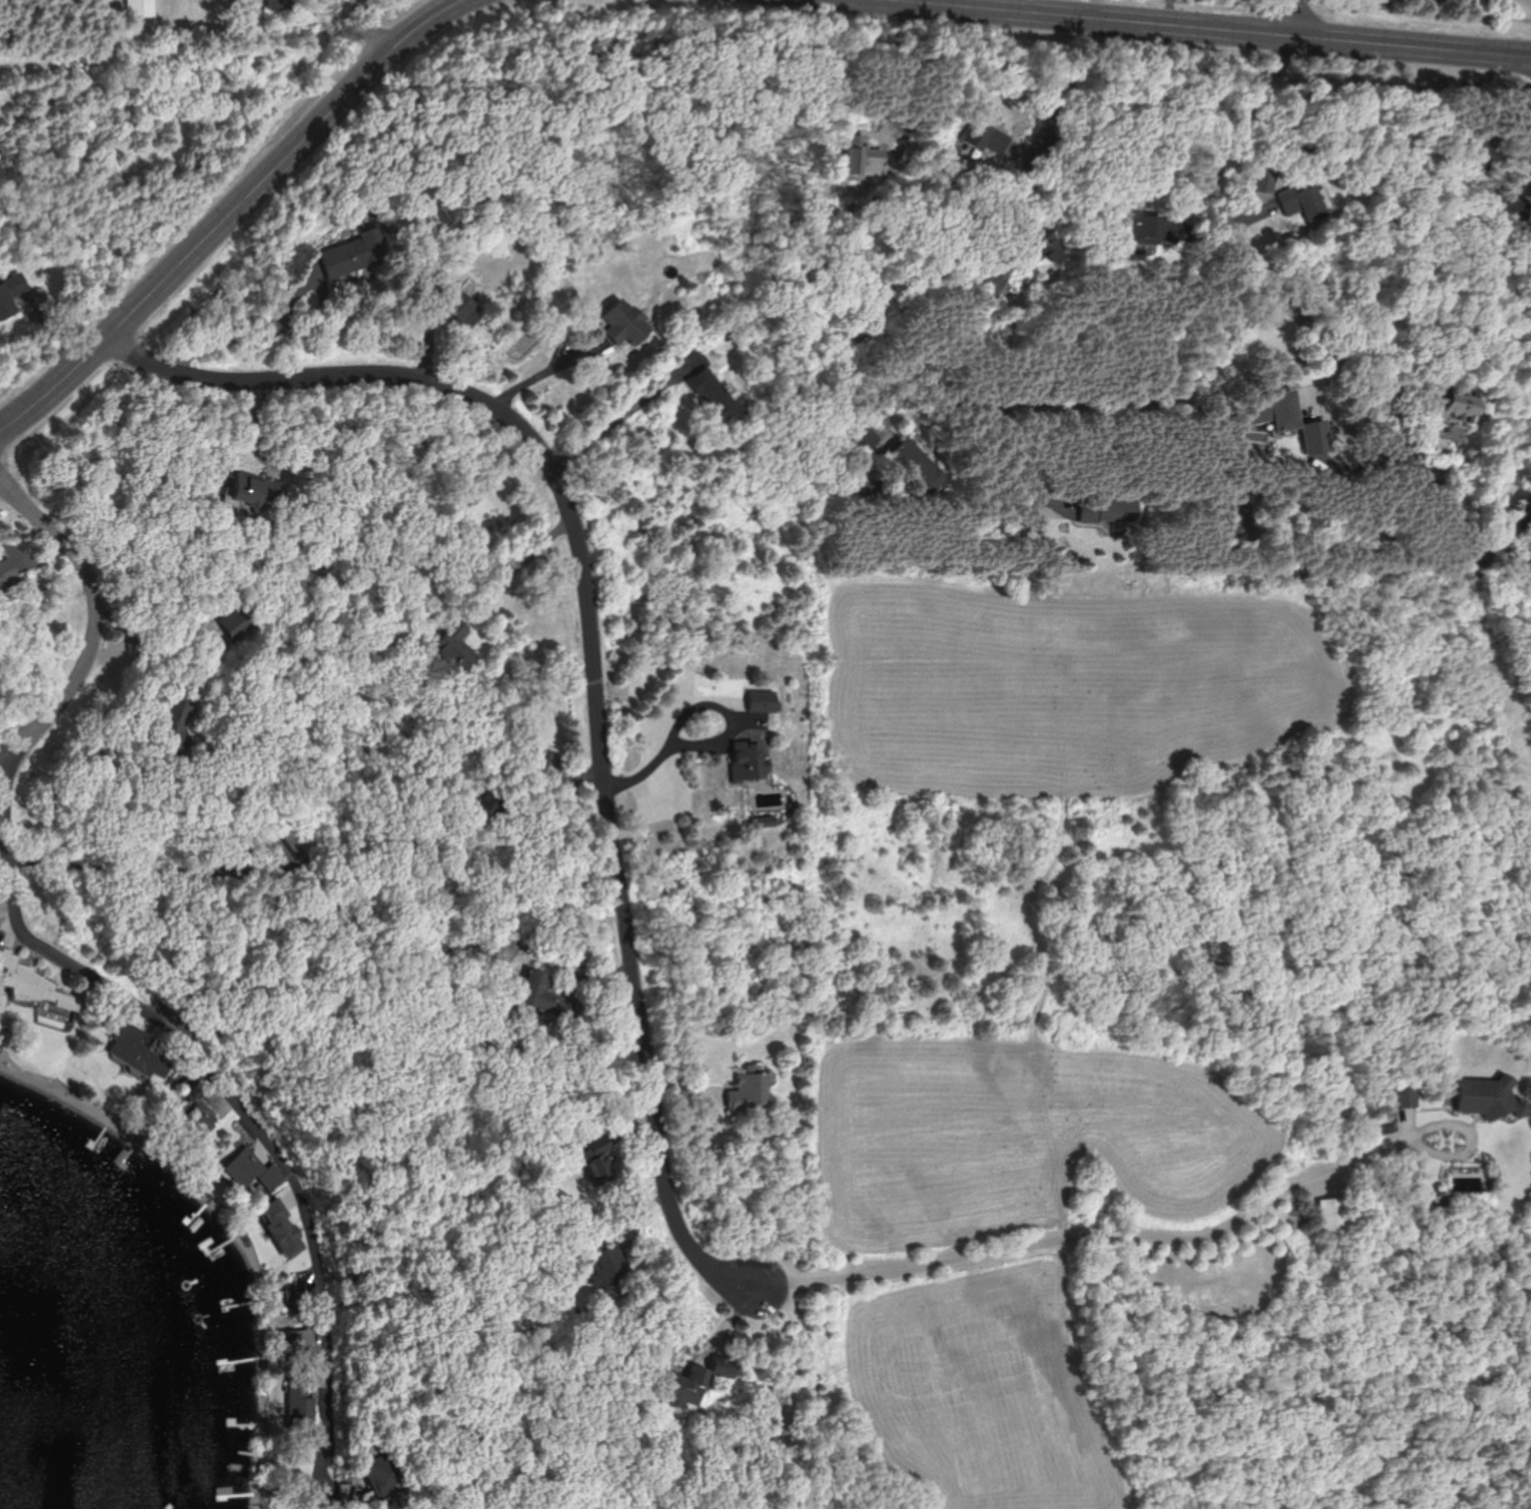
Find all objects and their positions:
road: (904, 1)
building: (283, 4)
building: (143, 8)
park: (1392, 12)
road: (1304, 20)
road: (1199, 29)
road: (365, 36)
road: (1064, 100)
building: (982, 135)
building: (1306, 201)
road: (234, 208)
building: (1150, 226)
building: (356, 253)
building: (11, 294)
road: (1291, 298)
building: (466, 309)
building: (625, 322)
road: (252, 337)
road: (547, 375)
building: (713, 393)
road: (1107, 403)
building: (1455, 411)
building: (1284, 413)
road: (614, 422)
building: (920, 463)
building: (260, 490)
building: (1110, 511)
building: (1527, 516)
building: (1527, 553)
building: (8, 573)
road: (513, 575)
building: (228, 628)
building: (455, 647)
road: (593, 658)
building: (763, 701)
road: (664, 725)
building: (178, 727)
road: (19, 737)
building: (748, 760)
building: (490, 802)
building: (768, 821)
building: (255, 858)
road: (117, 871)
building: (33, 983)
road: (102, 984)
building: (546, 996)
building: (150, 1064)
building: (192, 1085)
building: (753, 1091)
building: (1406, 1097)
building: (1490, 1097)
road: (1435, 1130)
building: (600, 1159)
building: (254, 1171)
building: (1333, 1214)
building: (281, 1224)
road: (1098, 1234)
building: (608, 1263)
building: (293, 1297)
building: (300, 1344)
building: (724, 1366)
building: (686, 1383)
building: (302, 1398)
building: (386, 1473)

